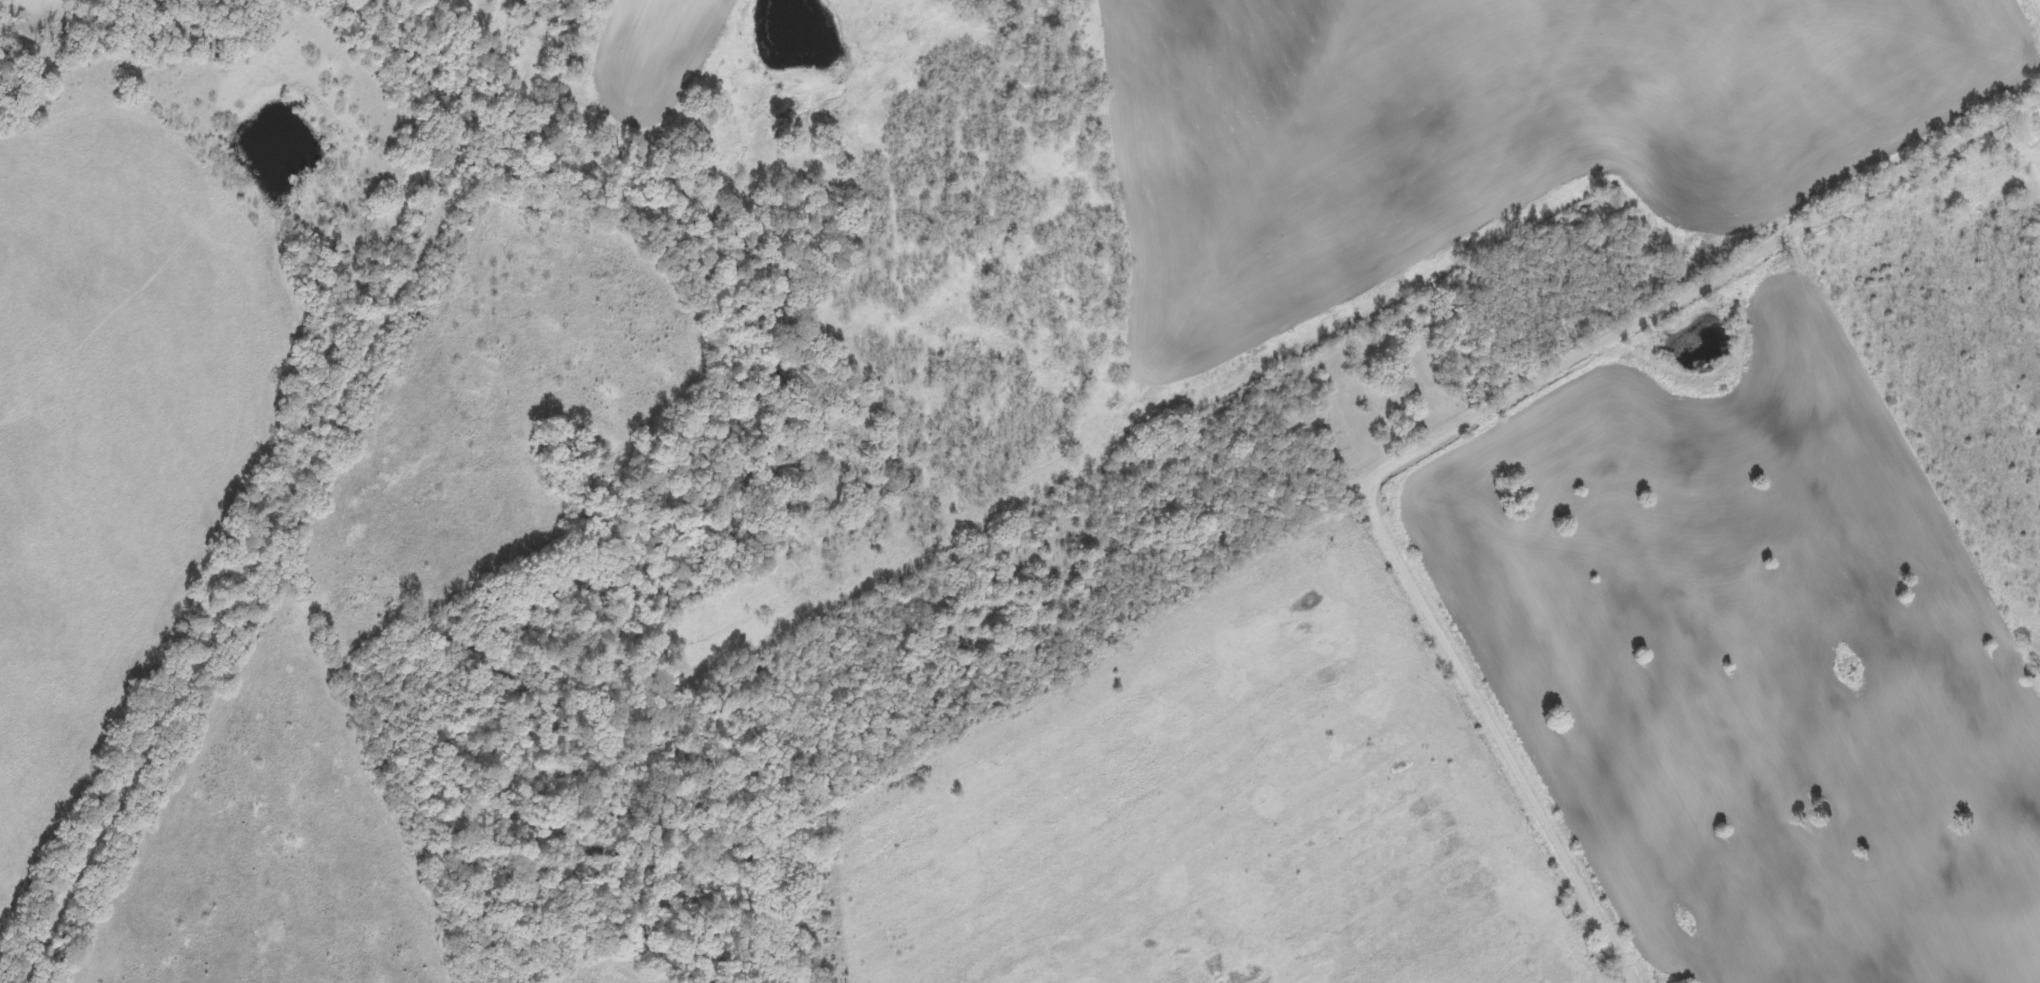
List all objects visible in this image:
road: (1461, 428)
railway: (290, 491)

